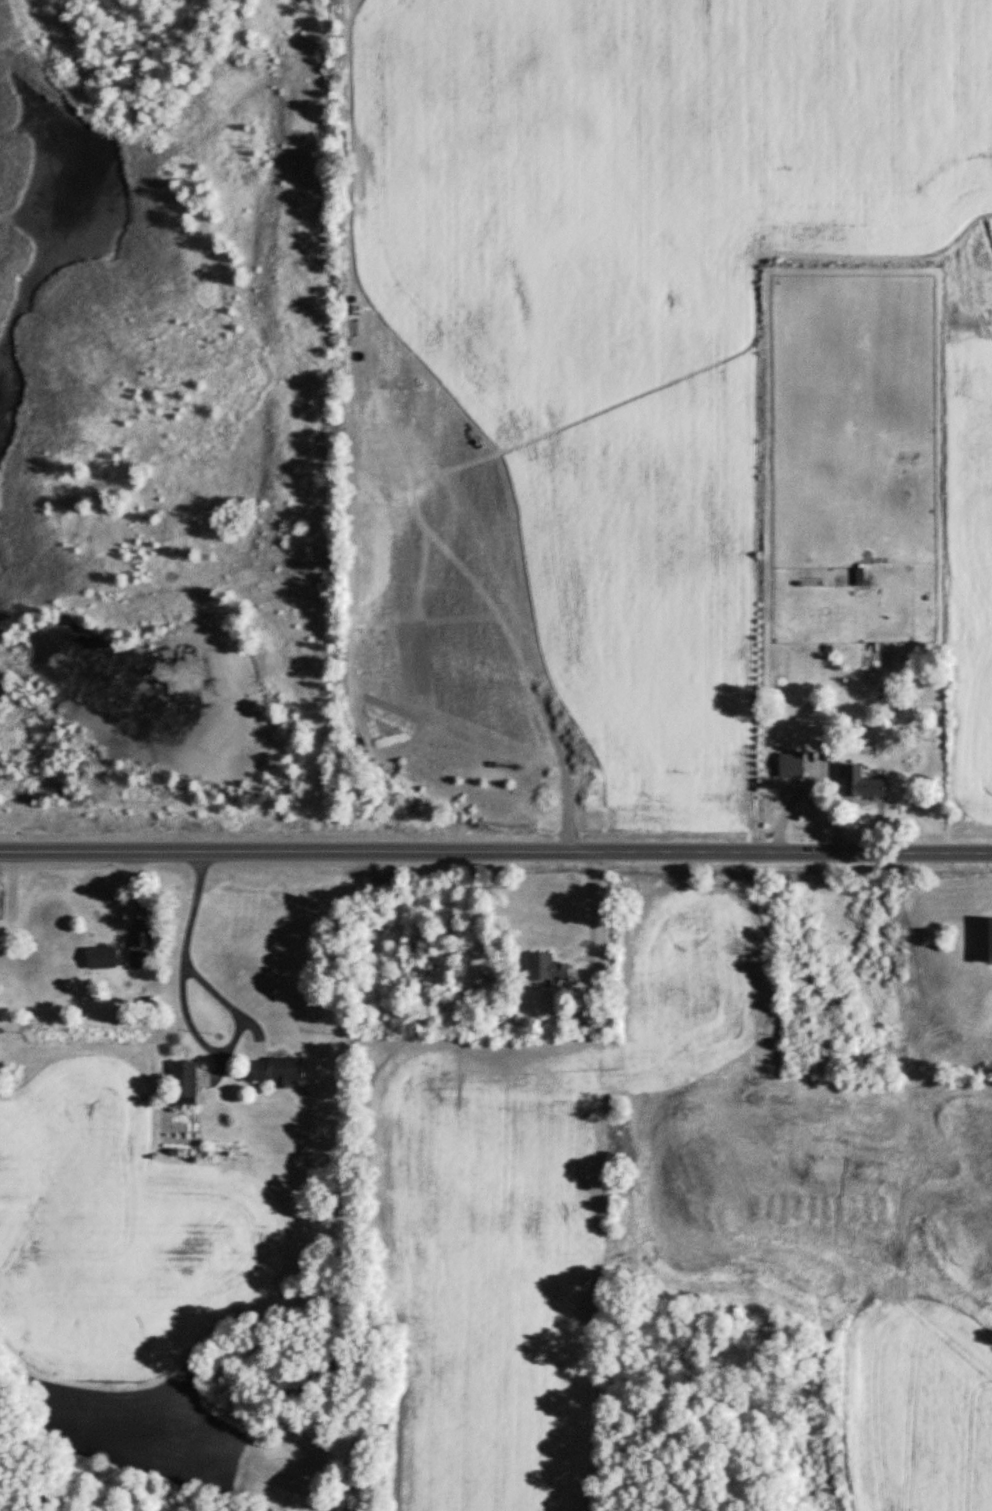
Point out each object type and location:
building: (863, 575)
building: (795, 764)
building: (868, 783)
road: (811, 784)
road: (496, 852)
road: (593, 908)
building: (105, 957)
building: (142, 961)
building: (549, 966)
road: (193, 1019)
building: (279, 1069)
building: (186, 1082)

